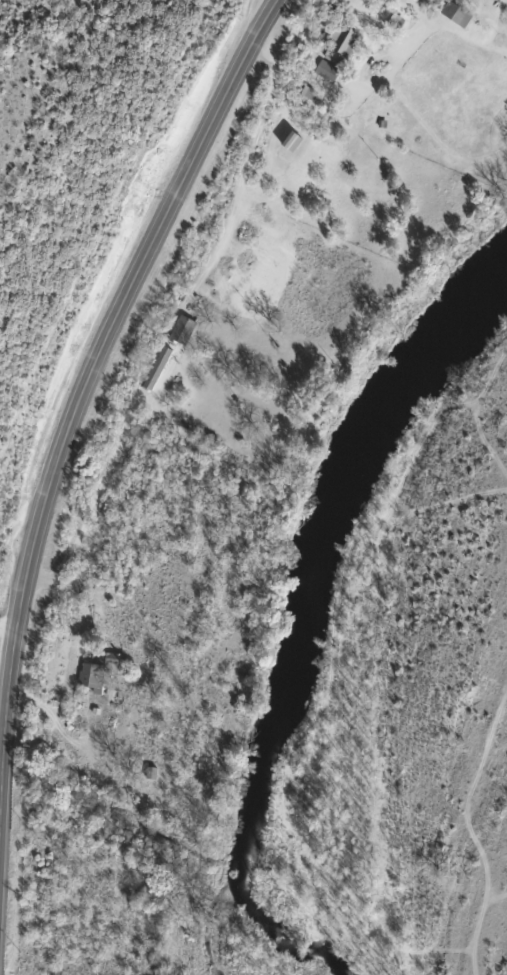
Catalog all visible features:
building: (452, 14)
building: (394, 20)
building: (335, 44)
building: (326, 72)
building: (303, 91)
building: (292, 143)
building: (184, 330)
road: (95, 358)
building: (159, 367)
road: (98, 498)
river: (311, 606)
road: (8, 624)
building: (103, 672)

